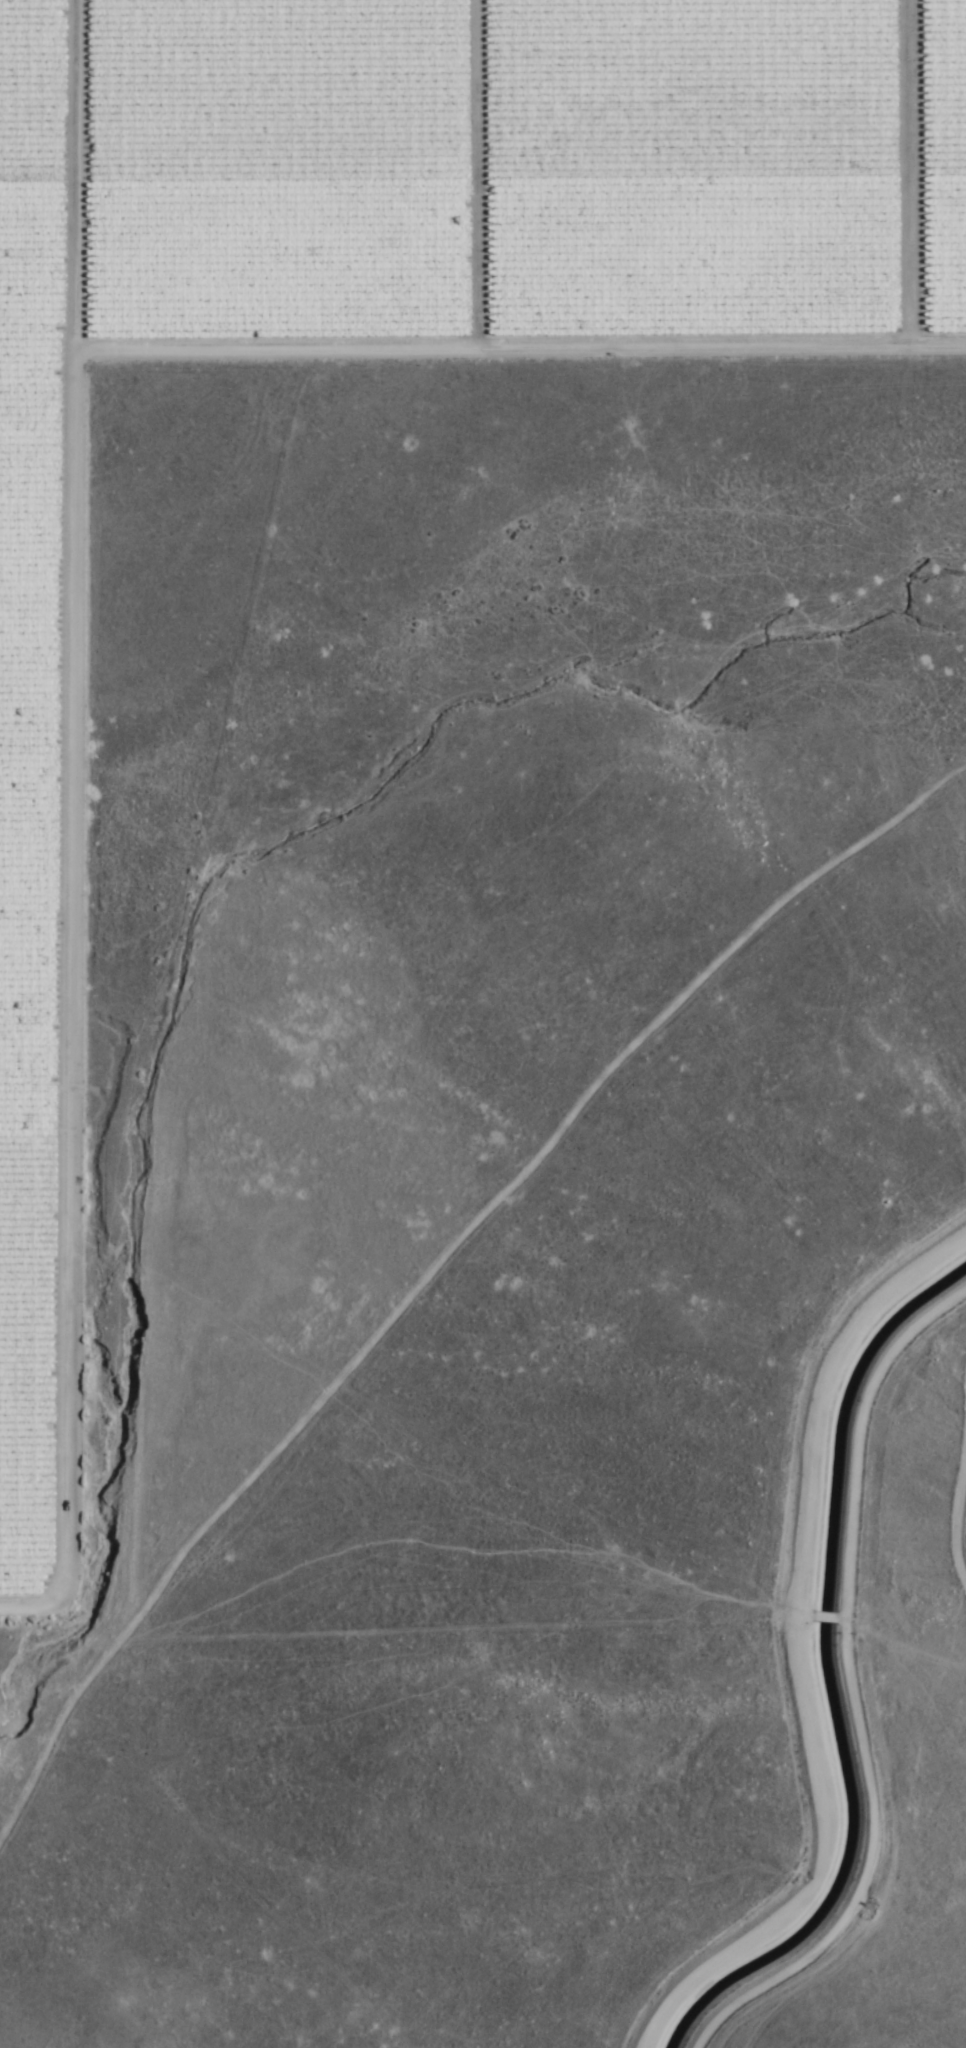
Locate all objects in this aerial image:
crop: (390, 332)
road: (429, 1192)
road: (758, 1513)
road: (206, 1825)

